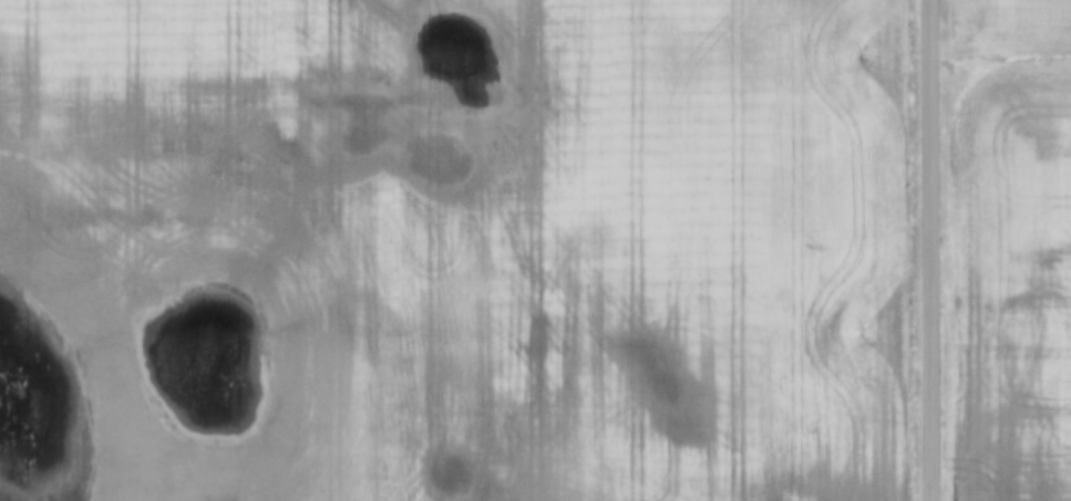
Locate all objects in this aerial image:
road: (928, 250)

